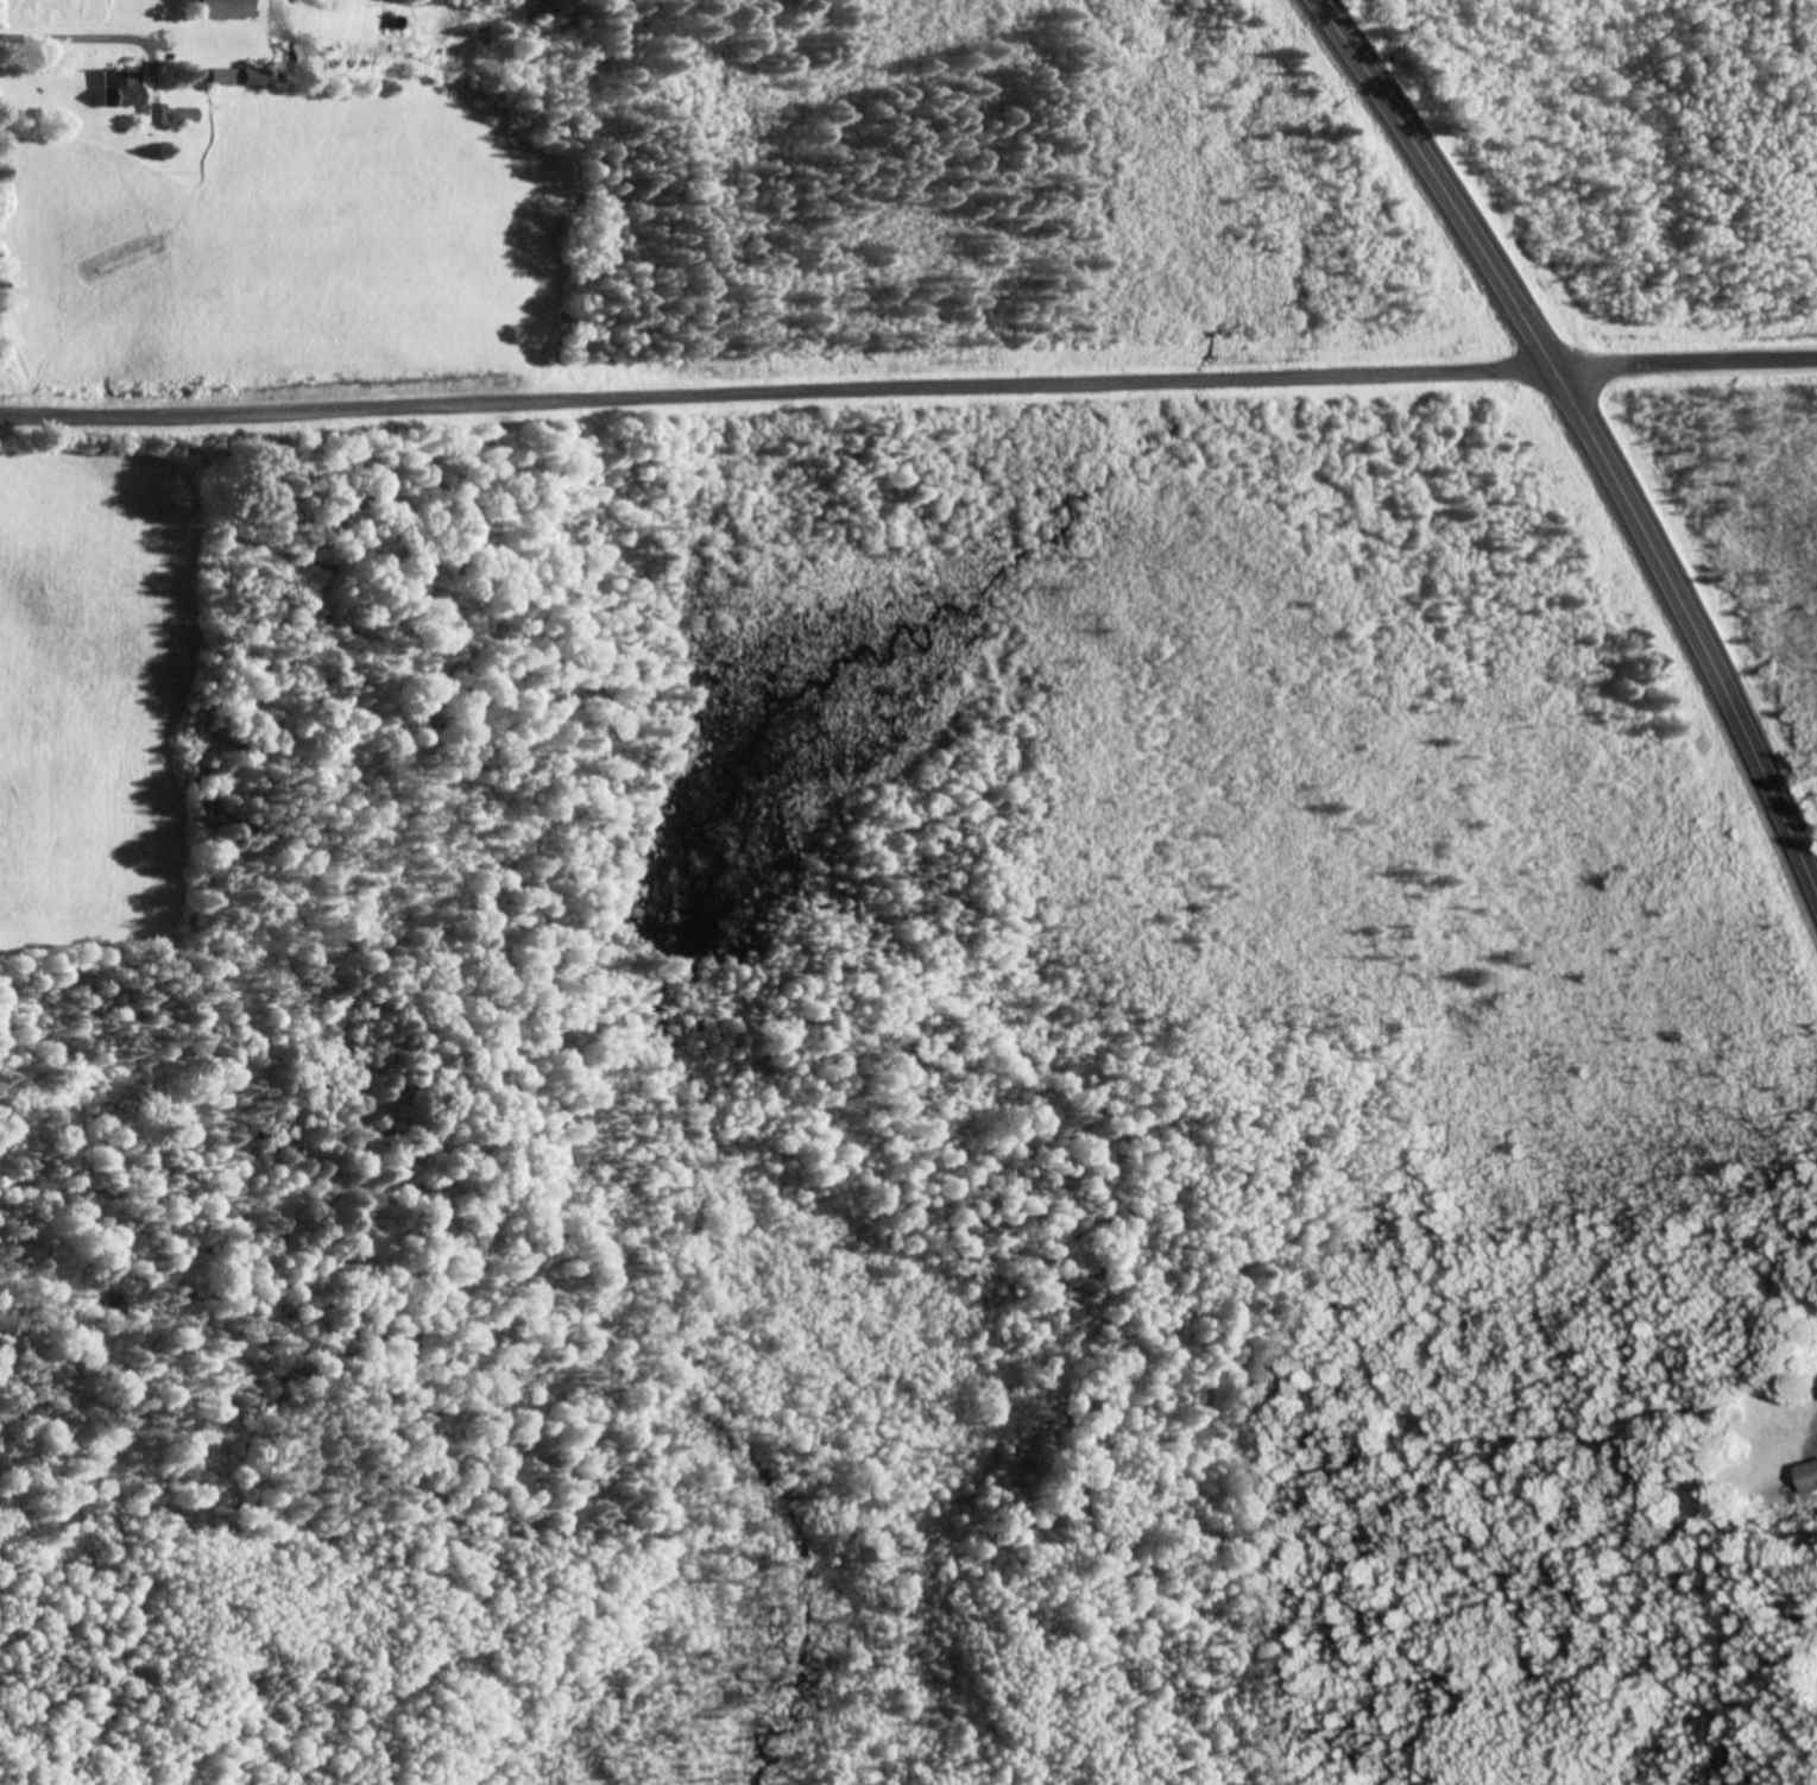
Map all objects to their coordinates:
building: (222, 8)
building: (238, 76)
building: (122, 86)
building: (156, 113)
building: (185, 115)
road: (1684, 362)
road: (776, 391)
road: (1590, 434)
building: (1811, 1477)

